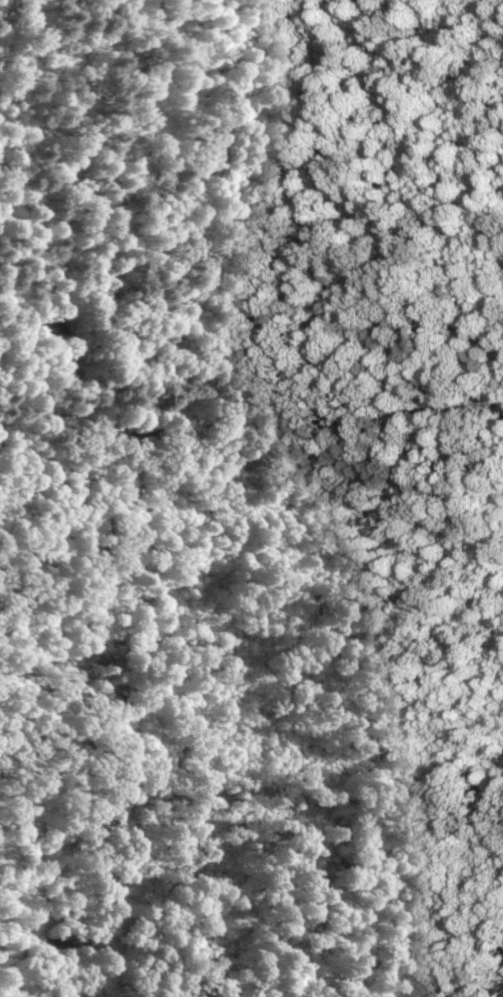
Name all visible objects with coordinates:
road: (92, 406)

